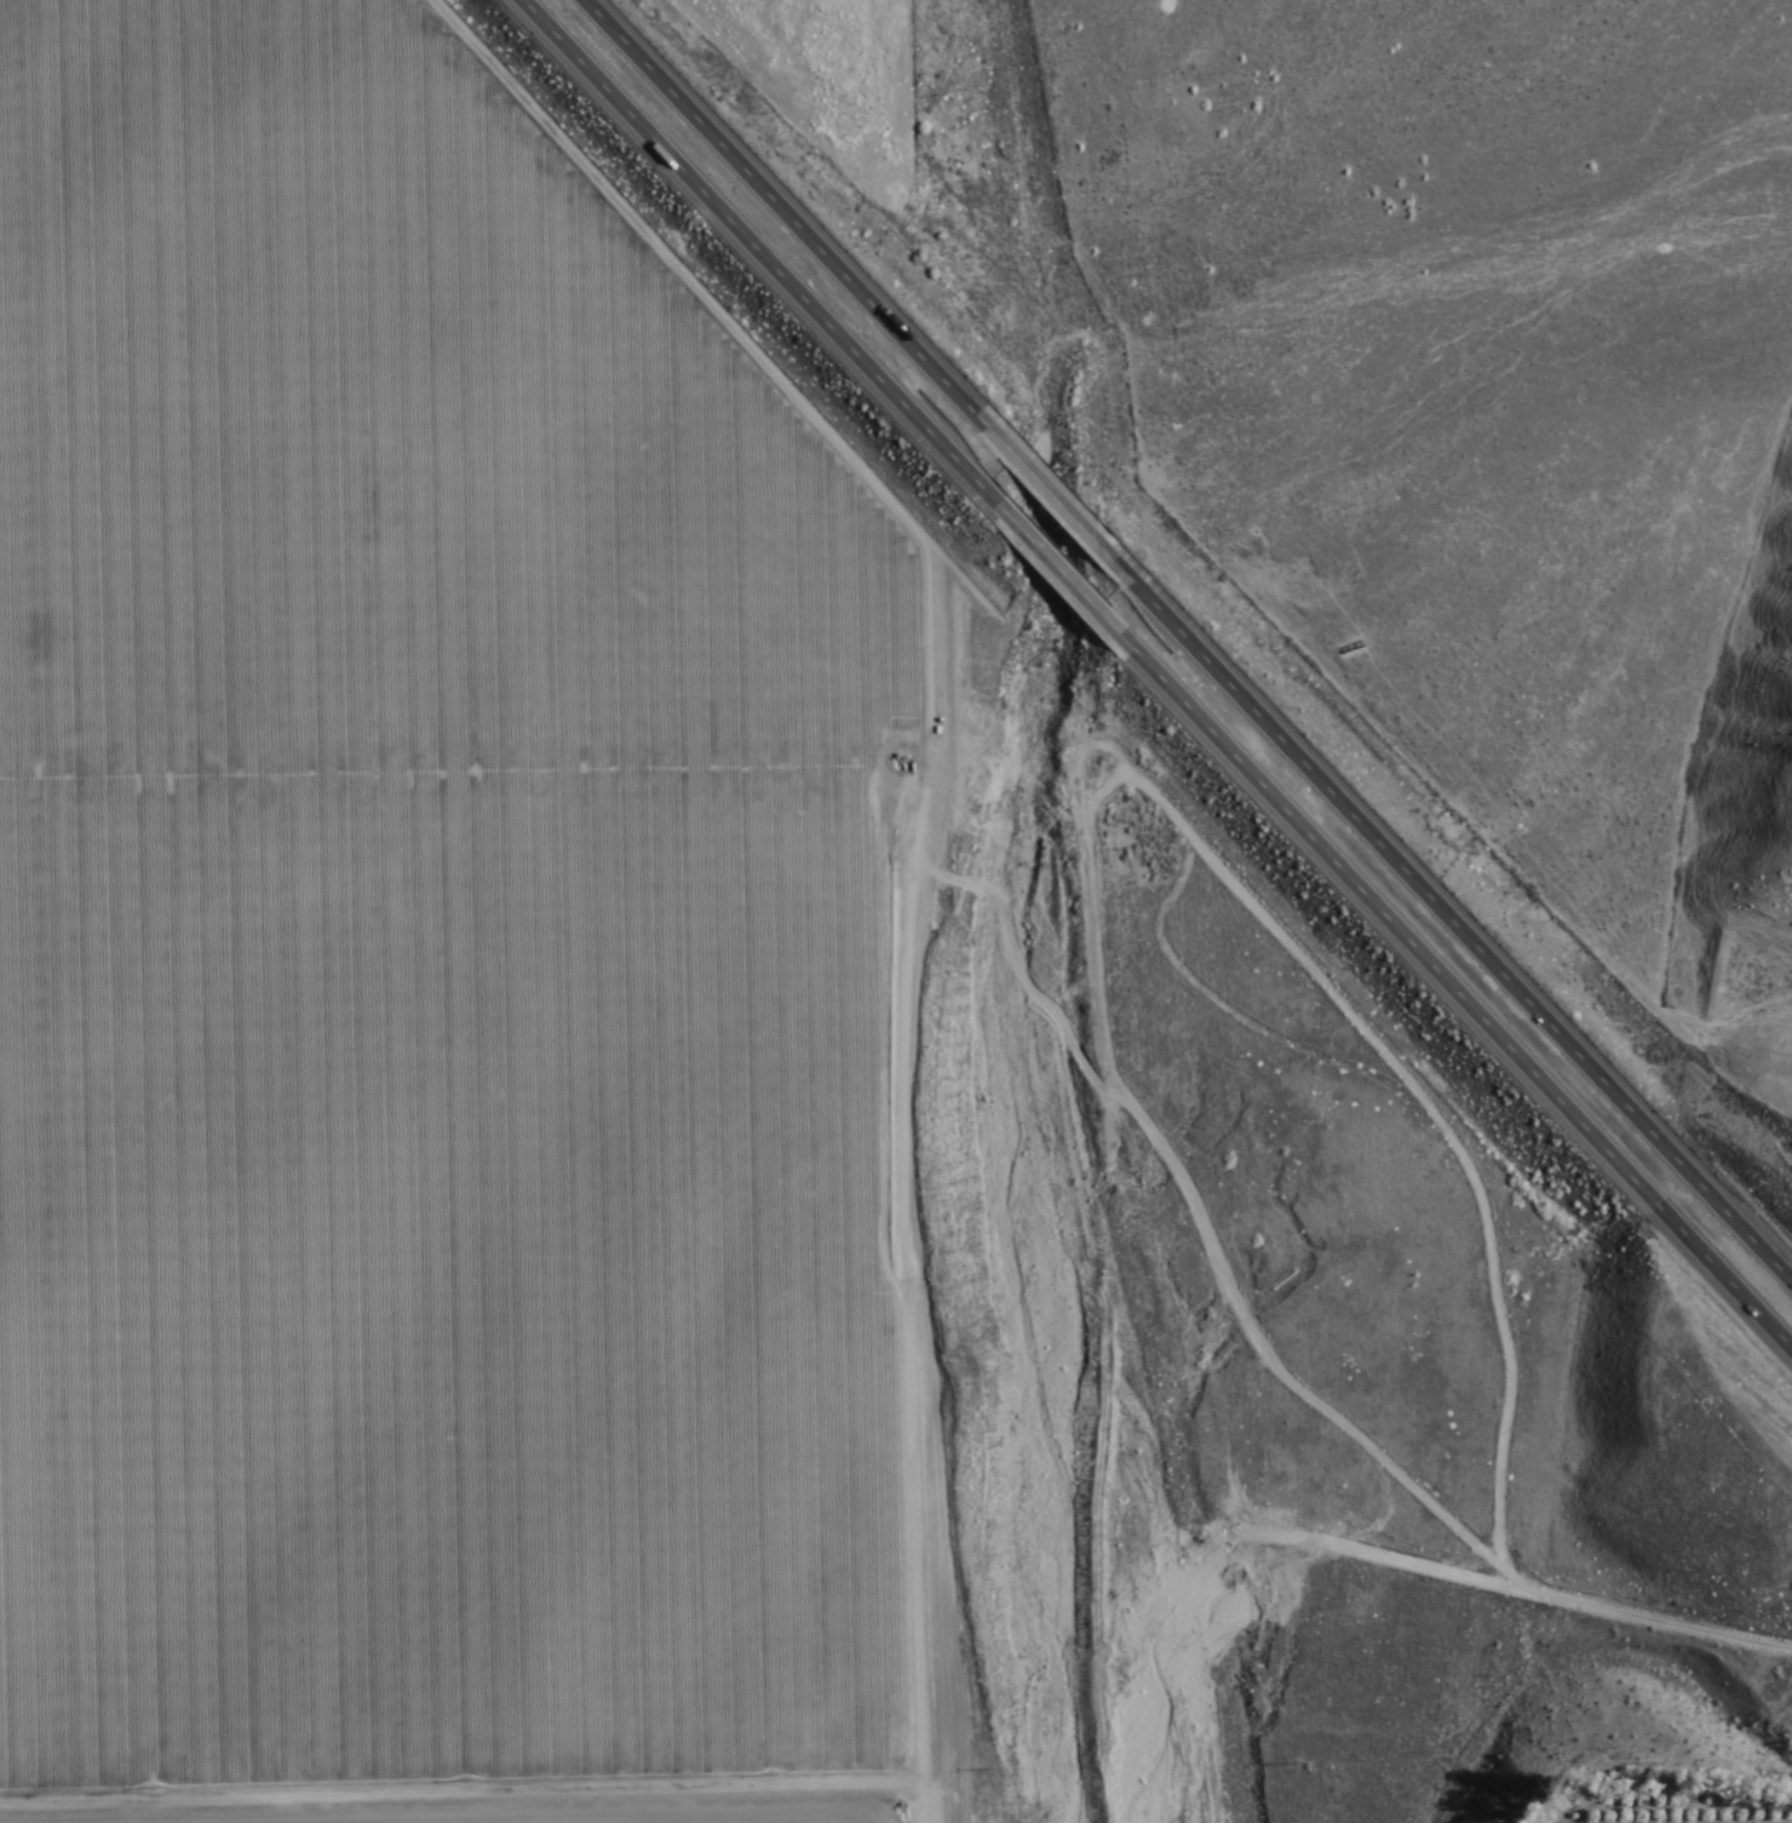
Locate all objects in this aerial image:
road: (791, 207)
road: (745, 247)
road: (1057, 494)
road: (1046, 564)
road: (1026, 908)
road: (1460, 923)
crop: (437, 968)
road: (1452, 996)
road: (1435, 1670)
crop: (1637, 1778)

